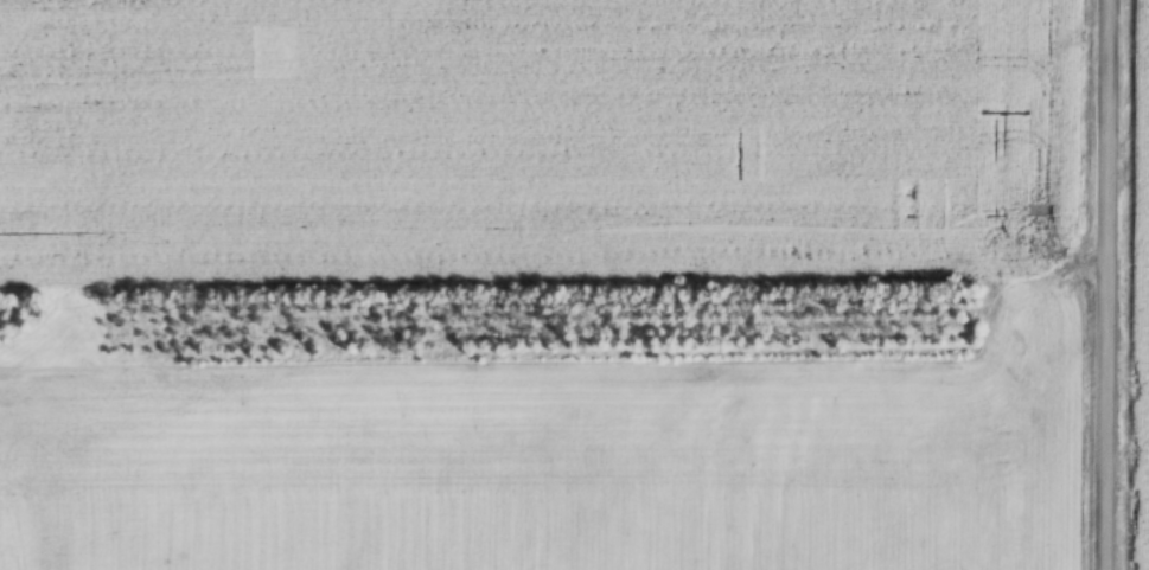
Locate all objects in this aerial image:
road: (1116, 284)

